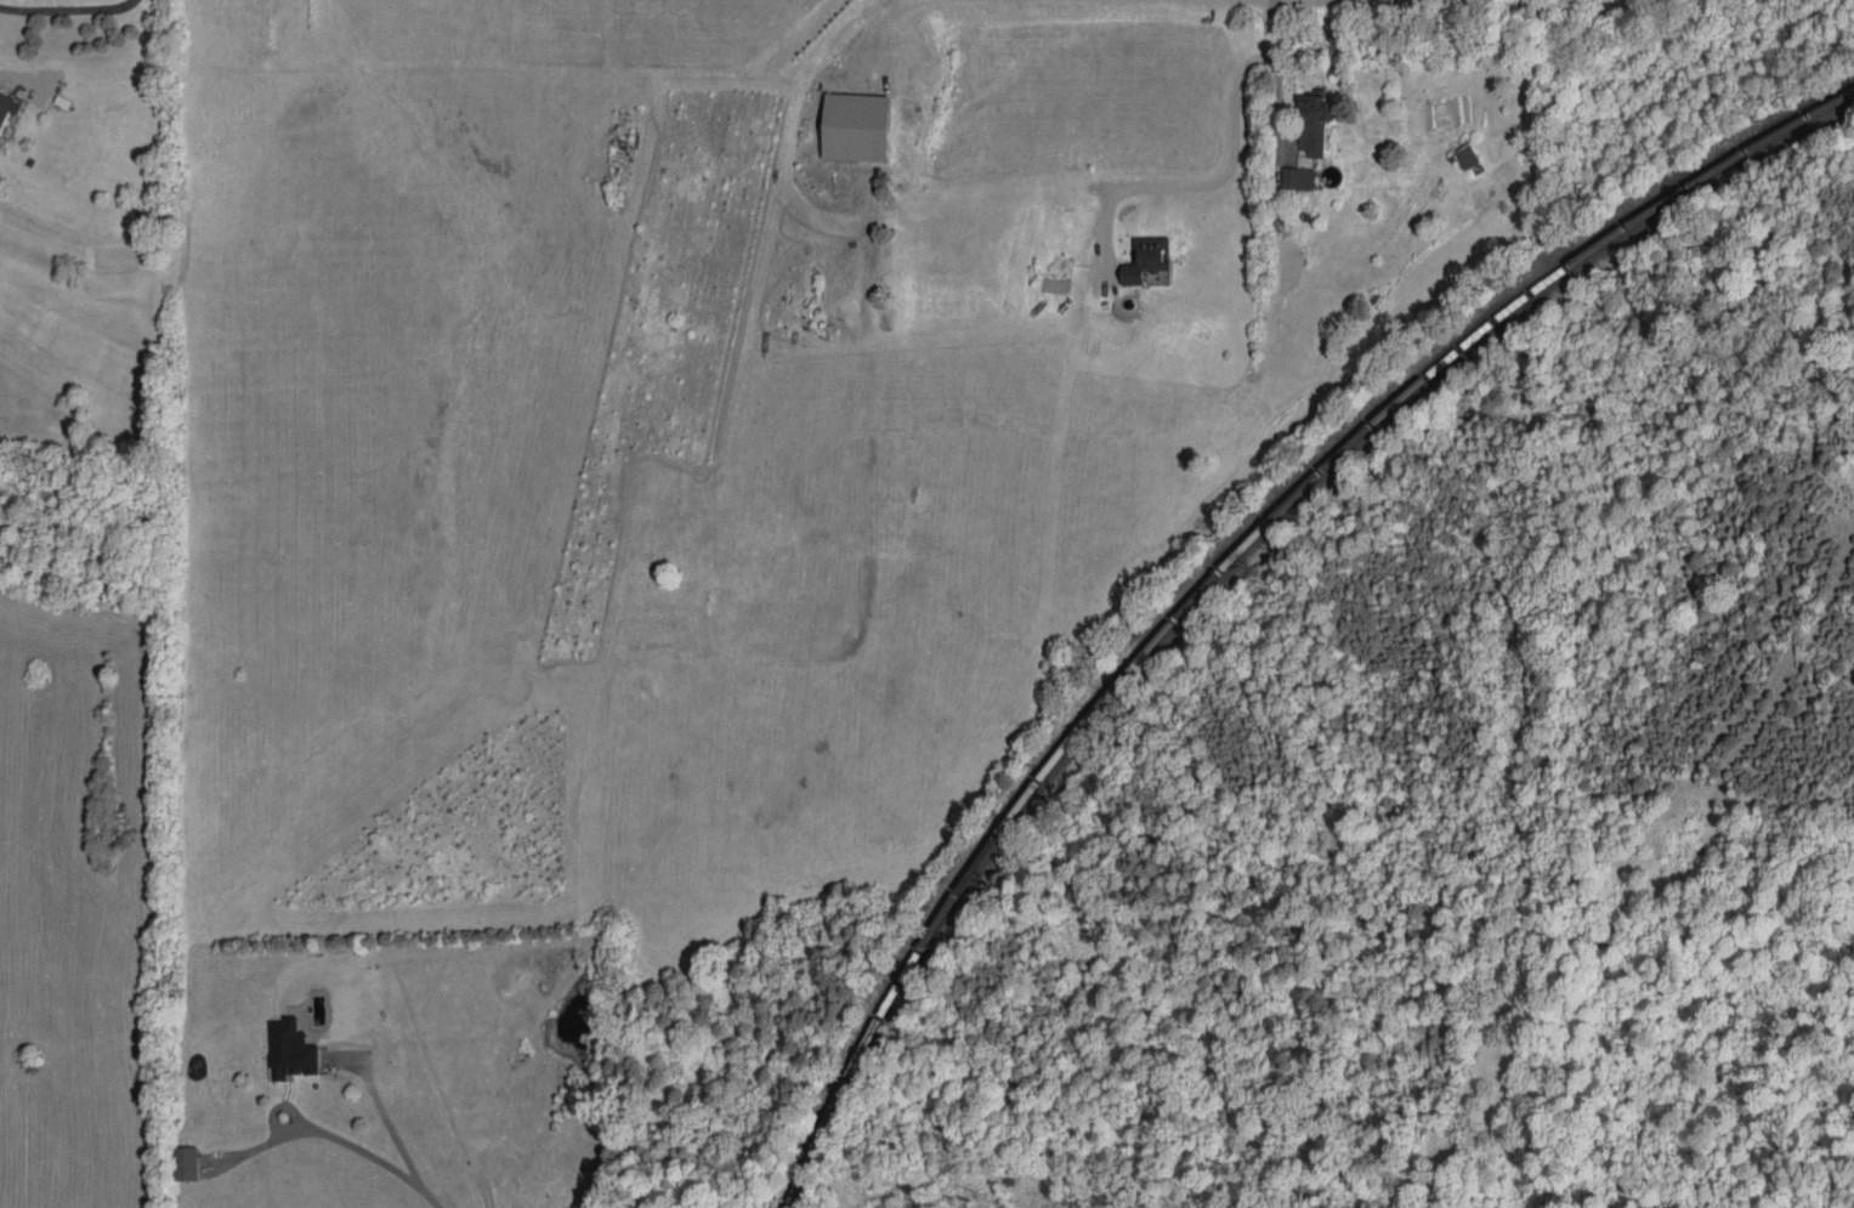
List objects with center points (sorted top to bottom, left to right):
building: (1412, 1)
road: (883, 39)
building: (4, 100)
building: (1315, 123)
building: (855, 126)
building: (1467, 155)
road: (1224, 172)
building: (1298, 177)
building: (1146, 257)
railway: (1226, 556)
road: (335, 1139)

